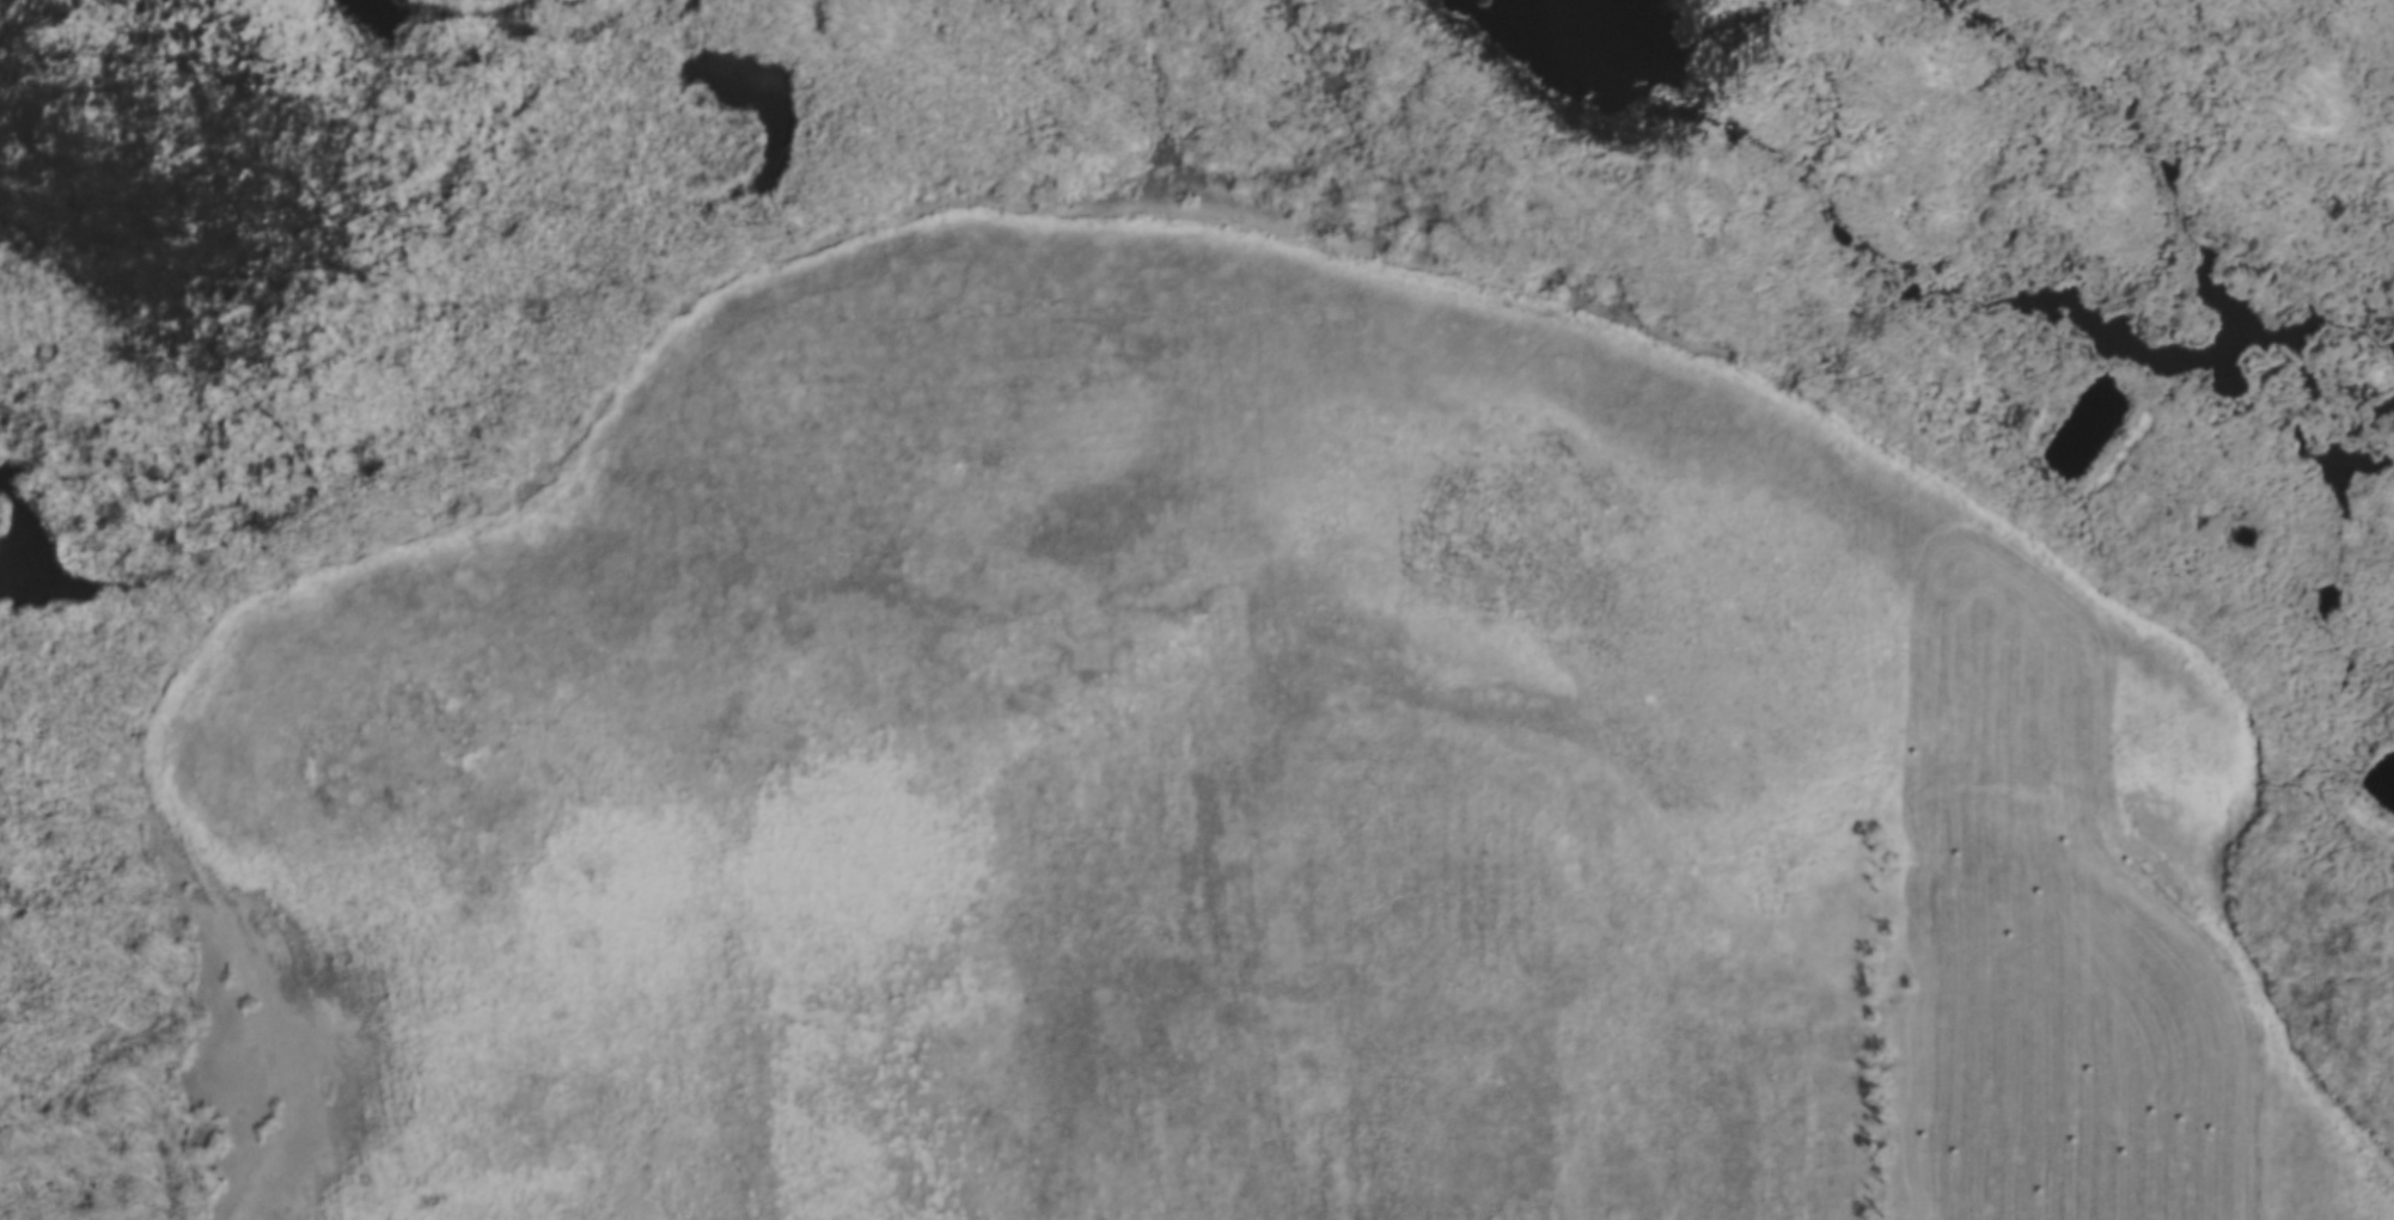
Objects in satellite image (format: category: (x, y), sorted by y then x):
river: (1996, 98)

